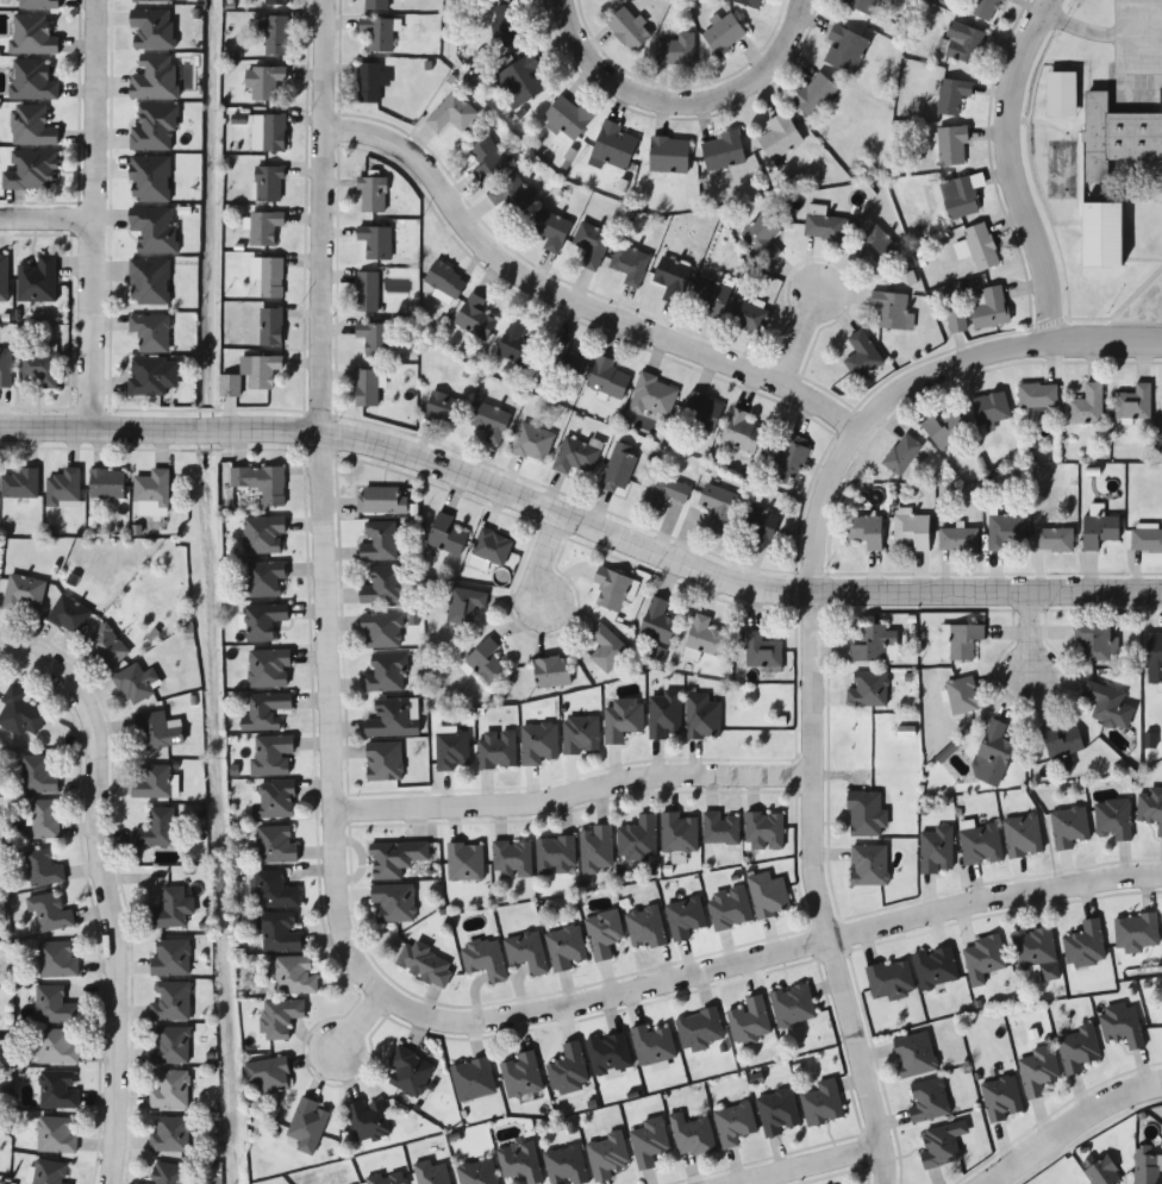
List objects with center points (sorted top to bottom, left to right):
building: (150, 1)
building: (274, 2)
building: (750, 2)
road: (1143, 4)
building: (37, 5)
building: (375, 5)
building: (862, 6)
building: (985, 10)
building: (508, 25)
road: (1124, 26)
road: (1081, 27)
building: (151, 29)
building: (627, 30)
building: (723, 33)
building: (377, 35)
building: (31, 36)
building: (275, 37)
building: (963, 43)
building: (675, 50)
building: (845, 50)
road: (1143, 50)
parking lot: (1137, 52)
building: (152, 79)
building: (31, 81)
building: (262, 82)
building: (370, 82)
building: (519, 82)
road: (1125, 88)
building: (1062, 94)
building: (812, 95)
building: (951, 95)
road: (685, 102)
road: (93, 108)
building: (451, 114)
building: (567, 118)
building: (31, 127)
building: (152, 129)
building: (273, 134)
building: (1118, 136)
building: (779, 137)
building: (612, 146)
building: (951, 146)
building: (723, 150)
building: (668, 155)
building: (486, 161)
road: (1012, 169)
building: (30, 171)
building: (149, 180)
building: (267, 184)
building: (373, 195)
building: (510, 195)
building: (961, 195)
road: (46, 218)
building: (825, 227)
building: (263, 228)
building: (152, 230)
building: (550, 230)
building: (1101, 233)
building: (762, 237)
building: (374, 242)
building: (591, 244)
building: (876, 246)
building: (979, 246)
building: (629, 263)
building: (268, 276)
building: (445, 278)
building: (671, 278)
building: (4, 280)
building: (37, 281)
building: (148, 281)
building: (367, 290)
building: (710, 295)
road: (569, 296)
building: (989, 307)
building: (891, 309)
building: (474, 317)
building: (749, 318)
road: (1143, 318)
building: (956, 319)
building: (270, 326)
road: (90, 330)
building: (150, 332)
building: (375, 338)
road: (798, 338)
building: (516, 344)
building: (861, 356)
building: (562, 361)
building: (5, 367)
building: (37, 369)
building: (151, 375)
building: (250, 375)
building: (606, 377)
building: (366, 387)
building: (1037, 395)
building: (652, 396)
building: (1132, 403)
building: (1086, 406)
building: (442, 408)
building: (989, 409)
building: (700, 412)
building: (489, 421)
building: (943, 430)
building: (741, 432)
building: (532, 443)
building: (576, 453)
building: (901, 455)
building: (791, 461)
building: (618, 469)
building: (260, 482)
building: (18, 483)
building: (106, 483)
building: (62, 487)
building: (151, 487)
building: (663, 491)
building: (381, 500)
building: (718, 507)
building: (757, 525)
building: (864, 531)
building: (911, 531)
building: (1004, 531)
building: (1098, 531)
road: (580, 532)
building: (263, 534)
building: (444, 534)
building: (957, 539)
building: (1052, 539)
building: (379, 540)
building: (1147, 540)
building: (492, 547)
road: (539, 564)
building: (264, 577)
building: (381, 584)
building: (611, 589)
building: (23, 594)
building: (464, 604)
building: (68, 614)
building: (263, 621)
building: (656, 621)
building: (381, 629)
road: (1027, 632)
building: (700, 639)
road: (813, 639)
building: (963, 640)
building: (1093, 641)
building: (874, 645)
building: (105, 647)
building: (605, 647)
building: (761, 651)
building: (1154, 658)
building: (485, 660)
building: (269, 669)
building: (551, 671)
building: (386, 674)
building: (133, 684)
building: (867, 690)
building: (961, 696)
building: (1107, 704)
building: (265, 710)
building: (19, 713)
building: (663, 714)
building: (700, 718)
building: (393, 719)
building: (620, 719)
building: (156, 732)
building: (580, 734)
building: (537, 743)
building: (1061, 747)
building: (451, 750)
building: (495, 750)
building: (993, 753)
building: (270, 756)
building: (383, 760)
building: (37, 775)
building: (151, 782)
building: (274, 798)
road: (571, 800)
building: (1150, 807)
building: (866, 814)
building: (44, 819)
building: (1113, 819)
building: (1068, 827)
building: (155, 828)
building: (720, 828)
building: (763, 831)
building: (677, 832)
building: (1022, 835)
building: (638, 838)
building: (274, 845)
building: (980, 845)
building: (595, 848)
building: (935, 850)
building: (555, 854)
building: (394, 858)
building: (512, 859)
building: (464, 862)
building: (868, 864)
building: (42, 867)
building: (273, 890)
road: (101, 891)
building: (767, 895)
building: (392, 903)
road: (333, 906)
building: (729, 908)
building: (170, 909)
building: (49, 912)
building: (685, 916)
building: (644, 927)
building: (277, 931)
building: (1136, 932)
building: (602, 934)
building: (1085, 945)
building: (564, 947)
building: (525, 952)
building: (1036, 952)
building: (169, 958)
building: (982, 958)
building: (56, 960)
building: (483, 960)
building: (424, 964)
building: (935, 967)
building: (293, 976)
building: (889, 979)
building: (169, 1001)
building: (52, 1006)
building: (792, 1006)
building: (280, 1017)
building: (749, 1021)
road: (354, 1025)
building: (1122, 1025)
building: (699, 1029)
building: (169, 1045)
building: (652, 1045)
building: (56, 1047)
building: (1076, 1048)
building: (608, 1053)
building: (913, 1054)
building: (568, 1070)
building: (1038, 1070)
building: (408, 1071)
building: (520, 1075)
building: (267, 1076)
building: (471, 1079)
building: (57, 1089)
building: (169, 1089)
building: (1001, 1098)
building: (927, 1101)
building: (820, 1102)
building: (776, 1113)
building: (368, 1121)
road: (1069, 1121)
building: (732, 1123)
building: (307, 1125)
building: (55, 1134)
building: (169, 1135)
building: (692, 1136)
building: (649, 1142)
building: (941, 1145)
building: (606, 1155)
building: (519, 1161)
building: (1148, 1164)
building: (564, 1165)
road: (801, 1165)
building: (49, 1172)
building: (477, 1172)
building: (1102, 1172)
building: (165, 1173)
building: (431, 1173)
building: (387, 1178)

